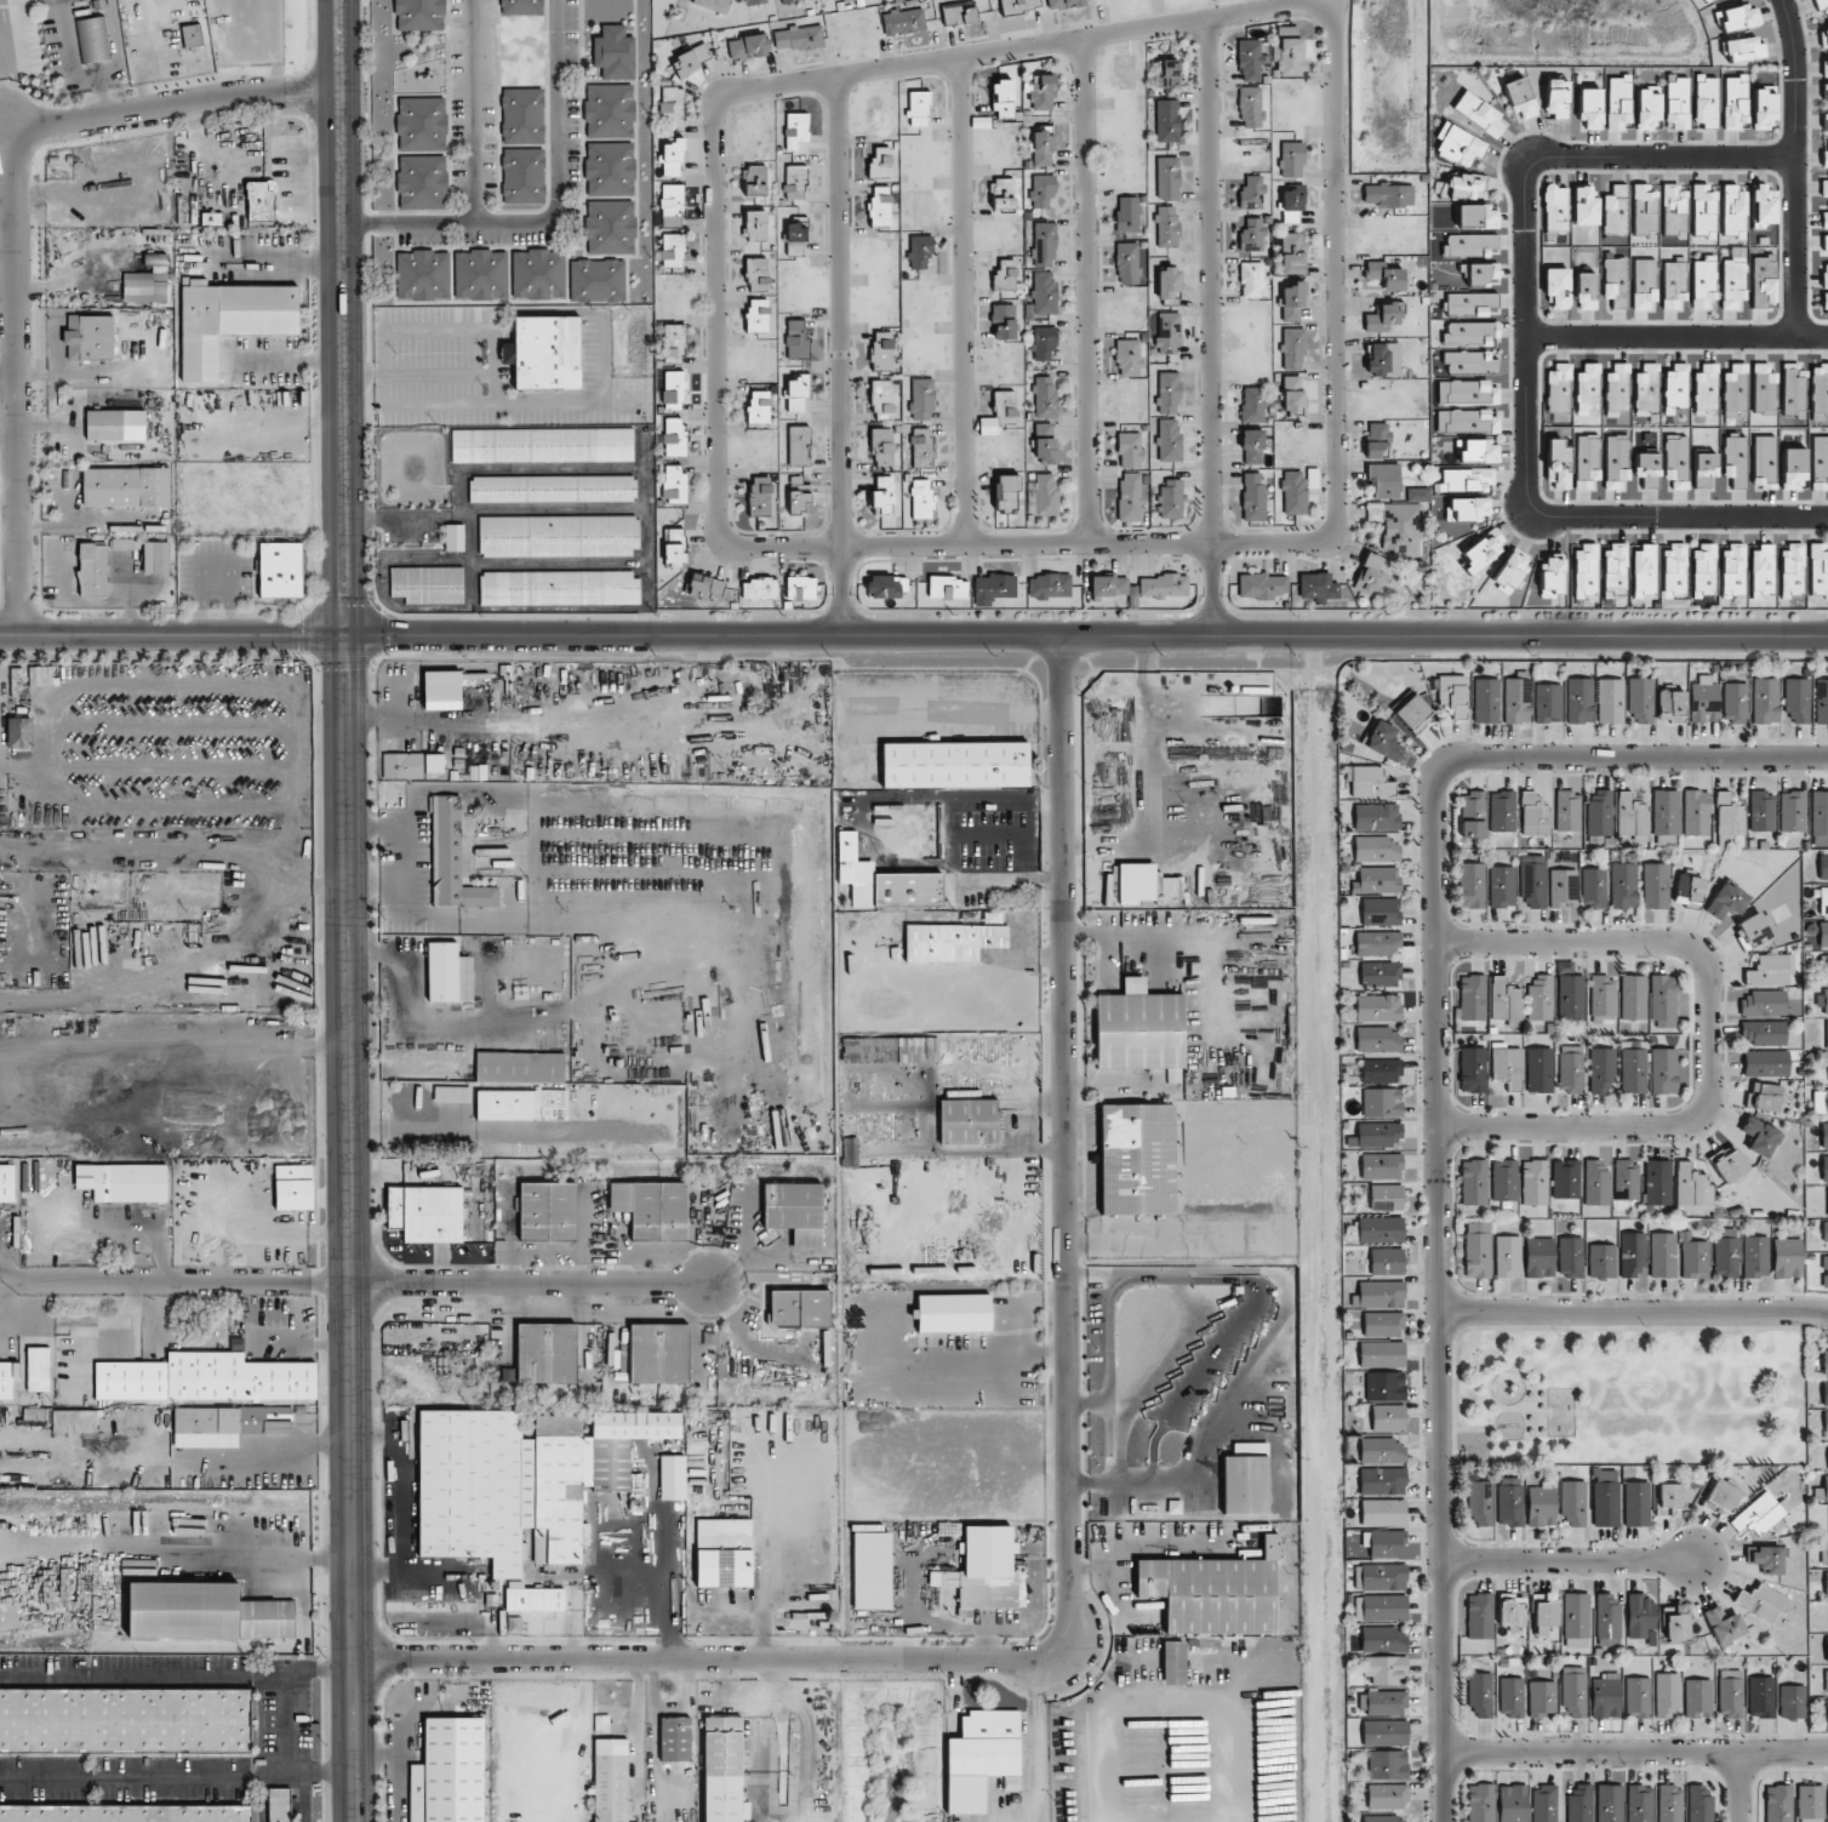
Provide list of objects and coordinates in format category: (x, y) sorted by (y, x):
building: (846, 0)
building: (1708, 0)
building: (754, 1)
building: (1066, 4)
building: (714, 5)
building: (1019, 5)
building: (1822, 5)
building: (521, 7)
building: (958, 13)
building: (419, 15)
building: (1737, 17)
building: (903, 21)
building: (192, 35)
building: (798, 38)
building: (1823, 38)
building: (92, 39)
road: (331, 46)
building: (748, 46)
building: (1743, 48)
building: (615, 52)
building: (1291, 57)
building: (690, 59)
building: (1250, 59)
building: (760, 62)
building: (1824, 68)
building: (1166, 73)
road: (804, 80)
building: (1041, 92)
building: (1824, 93)
building: (1002, 98)
building: (1519, 98)
building: (1555, 98)
building: (1617, 101)
building: (1676, 101)
building: (1704, 101)
building: (1735, 101)
building: (673, 107)
building: (1250, 107)
building: (1646, 107)
building: (918, 108)
building: (1763, 108)
building: (1589, 109)
building: (615, 110)
road: (472, 113)
building: (1478, 113)
building: (522, 115)
building: (1167, 120)
building: (1826, 121)
building: (421, 124)
building: (795, 130)
building: (1458, 144)
building: (1041, 145)
building: (672, 158)
building: (1824, 158)
building: (1291, 159)
building: (880, 162)
road: (1799, 167)
building: (615, 169)
building: (522, 175)
building: (1167, 178)
building: (755, 179)
building: (795, 181)
building: (421, 182)
building: (1461, 185)
building: (1824, 187)
building: (1041, 189)
building: (1002, 193)
building: (1251, 193)
building: (1389, 194)
building: (1293, 199)
building: (261, 202)
building: (672, 205)
building: (1763, 205)
building: (880, 206)
building: (1584, 206)
building: (1555, 207)
building: (1616, 210)
building: (1703, 210)
building: (1674, 211)
building: (1733, 211)
building: (1644, 212)
building: (1129, 215)
road: (550, 216)
building: (1476, 216)
building: (211, 218)
building: (1824, 219)
building: (756, 225)
building: (615, 227)
building: (1166, 227)
road: (15, 230)
building: (1252, 235)
building: (796, 236)
building: (1824, 242)
building: (1468, 244)
building: (1044, 245)
building: (673, 250)
building: (920, 251)
building: (1292, 252)
building: (1127, 263)
road: (269, 265)
building: (538, 273)
building: (1387, 273)
building: (1479, 273)
building: (423, 274)
building: (480, 274)
building: (756, 274)
building: (1005, 275)
building: (1824, 275)
building: (1251, 280)
building: (1763, 280)
building: (1616, 281)
building: (1167, 282)
building: (1703, 282)
building: (1674, 284)
building: (1732, 284)
building: (1645, 285)
building: (144, 286)
building: (1558, 286)
road: (1084, 290)
building: (1586, 291)
building: (1042, 293)
road: (961, 299)
building: (1292, 301)
building: (1469, 303)
building: (1826, 305)
building: (758, 315)
building: (1382, 316)
building: (230, 320)
building: (1002, 321)
road: (1209, 327)
building: (1167, 332)
building: (1468, 333)
building: (88, 337)
road: (1678, 337)
building: (796, 338)
building: (1042, 342)
building: (673, 343)
building: (1292, 348)
building: (882, 350)
building: (544, 352)
road: (1529, 352)
road: (836, 355)
building: (1129, 358)
building: (1384, 360)
building: (1470, 361)
road: (284, 362)
building: (1706, 385)
building: (1559, 387)
building: (1617, 387)
building: (1646, 387)
building: (673, 388)
building: (1588, 388)
building: (1675, 388)
building: (1736, 388)
building: (1764, 389)
building: (1794, 390)
building: (1467, 392)
building: (1820, 392)
building: (1167, 393)
building: (1292, 393)
building: (1045, 396)
building: (882, 399)
building: (921, 399)
building: (1253, 404)
building: (1005, 407)
building: (1466, 421)
building: (104, 424)
building: (674, 435)
building: (1169, 439)
building: (1377, 439)
building: (615, 444)
building: (799, 445)
building: (1252, 446)
building: (882, 447)
building: (920, 447)
building: (1045, 450)
building: (1130, 450)
building: (1479, 451)
building: (1820, 458)
building: (1587, 459)
building: (1616, 461)
building: (1676, 461)
building: (1735, 461)
building: (1765, 461)
building: (1558, 464)
building: (1647, 468)
building: (1704, 468)
building: (1793, 468)
road: (516, 469)
building: (1464, 479)
building: (1384, 480)
building: (674, 482)
building: (126, 486)
building: (616, 487)
building: (1293, 492)
building: (1005, 493)
building: (1046, 493)
building: (1417, 493)
building: (760, 495)
building: (882, 495)
building: (799, 496)
building: (1130, 496)
building: (1253, 496)
building: (920, 499)
building: (1467, 508)
building: (1403, 529)
building: (617, 535)
building: (453, 538)
road: (1286, 541)
building: (675, 547)
building: (1483, 549)
building: (156, 556)
building: (92, 569)
building: (280, 569)
building: (1818, 569)
building: (1510, 570)
building: (1615, 570)
building: (1644, 570)
building: (1703, 570)
building: (1761, 570)
building: (1790, 570)
building: (1586, 571)
building: (1732, 571)
building: (1673, 572)
building: (1370, 573)
building: (1552, 575)
building: (427, 584)
building: (1049, 586)
building: (1108, 586)
building: (1163, 586)
building: (1262, 586)
building: (1318, 586)
building: (617, 587)
building: (947, 587)
building: (994, 587)
building: (701, 588)
building: (759, 588)
building: (800, 588)
road: (647, 601)
road: (11, 635)
road: (924, 636)
building: (442, 689)
building: (1453, 693)
building: (1641, 699)
building: (1704, 699)
building: (1486, 701)
building: (1516, 701)
building: (1579, 701)
building: (1610, 701)
building: (1765, 701)
building: (1796, 701)
building: (1821, 701)
building: (1548, 703)
building: (1735, 703)
building: (1672, 706)
building: (1413, 713)
building: (1383, 741)
road: (1628, 758)
building: (433, 763)
building: (395, 765)
building: (955, 765)
building: (1369, 782)
building: (1761, 810)
building: (1502, 811)
building: (1569, 811)
building: (1792, 811)
building: (1600, 812)
building: (1664, 812)
building: (1696, 812)
building: (1820, 812)
building: (1472, 813)
building: (1533, 815)
building: (1376, 816)
building: (1632, 817)
building: (1729, 818)
building: (846, 845)
building: (1377, 849)
building: (452, 859)
building: (1823, 867)
building: (1377, 879)
road: (371, 880)
building: (1532, 881)
building: (1472, 885)
building: (1623, 885)
building: (1656, 885)
building: (1167, 886)
building: (1502, 886)
building: (1593, 887)
building: (907, 889)
building: (1564, 889)
building: (1689, 890)
road: (402, 893)
building: (1726, 901)
building: (1823, 901)
building: (1381, 912)
building: (1756, 929)
building: (1823, 935)
building: (952, 941)
building: (1377, 943)
road: (407, 955)
road: (342, 956)
building: (1827, 966)
building: (1771, 970)
building: (449, 972)
building: (1379, 973)
building: (1603, 995)
building: (1473, 996)
building: (1571, 996)
building: (1633, 996)
building: (1541, 998)
building: (1663, 998)
building: (1506, 1001)
building: (1824, 1001)
building: (1763, 1003)
building: (1377, 1007)
building: (1138, 1028)
building: (1764, 1032)
building: (1827, 1034)
road: (1701, 1035)
building: (1378, 1040)
building: (918, 1049)
building: (1765, 1063)
building: (1507, 1064)
building: (520, 1067)
building: (1473, 1069)
building: (1539, 1069)
building: (1571, 1069)
building: (1381, 1070)
building: (1603, 1070)
building: (1634, 1070)
building: (1664, 1070)
building: (1172, 1075)
building: (451, 1093)
building: (1764, 1096)
building: (1382, 1102)
building: (1820, 1102)
building: (520, 1104)
building: (969, 1121)
building: (1379, 1133)
building: (1824, 1135)
building: (1761, 1137)
building: (1136, 1159)
building: (1382, 1166)
building: (1730, 1166)
building: (1824, 1169)
building: (1566, 1178)
building: (1504, 1180)
building: (1627, 1180)
building: (124, 1182)
building: (1474, 1182)
building: (1535, 1182)
building: (1657, 1182)
building: (6, 1183)
building: (1596, 1183)
building: (293, 1187)
building: (1692, 1188)
building: (1387, 1196)
building: (1827, 1203)
building: (652, 1209)
building: (545, 1211)
building: (502, 1212)
building: (795, 1212)
building: (425, 1213)
building: (1378, 1229)
building: (1824, 1230)
building: (1632, 1255)
building: (1663, 1255)
building: (1726, 1255)
building: (1508, 1256)
building: (1695, 1256)
building: (1755, 1256)
building: (1539, 1257)
building: (1571, 1257)
building: (1787, 1257)
building: (1387, 1261)
building: (1603, 1261)
building: (1826, 1272)
road: (182, 1283)
road: (527, 1284)
building: (1378, 1295)
road: (1434, 1300)
building: (799, 1308)
road: (1630, 1309)
building: (953, 1313)
building: (1383, 1324)
building: (545, 1353)
building: (658, 1353)
building: (1382, 1354)
building: (1824, 1363)
building: (38, 1369)
building: (7, 1378)
building: (205, 1378)
building: (1384, 1386)
building: (1826, 1393)
park: (1628, 1394)
building: (1388, 1417)
building: (195, 1420)
building: (263, 1420)
building: (1826, 1420)
building: (627, 1443)
building: (1382, 1450)
building: (672, 1477)
building: (1245, 1479)
building: (1382, 1481)
building: (636, 1483)
building: (558, 1484)
road: (400, 1485)
building: (1822, 1491)
building: (476, 1496)
building: (1605, 1497)
building: (1668, 1497)
building: (1721, 1497)
road: (1069, 1501)
building: (1509, 1501)
building: (1480, 1502)
building: (1572, 1503)
building: (1636, 1503)
building: (1541, 1504)
building: (1383, 1513)
building: (1761, 1514)
road: (1146, 1533)
building: (1384, 1542)
building: (725, 1554)
road: (1571, 1558)
building: (1766, 1558)
road: (211, 1569)
road: (296, 1570)
building: (872, 1570)
building: (984, 1571)
road: (409, 1572)
building: (1379, 1577)
building: (1826, 1583)
road: (667, 1586)
building: (1213, 1592)
building: (1761, 1601)
building: (1381, 1607)
building: (204, 1611)
building: (1510, 1611)
building: (1544, 1612)
building: (1479, 1616)
building: (1639, 1616)
building: (1576, 1620)
building: (1607, 1621)
building: (1724, 1626)
building: (1676, 1627)
building: (1383, 1639)
building: (1827, 1649)
building: (1172, 1662)
building: (1384, 1669)
road: (176, 1678)
building: (1826, 1680)
building: (1573, 1691)
building: (1730, 1692)
building: (1480, 1694)
building: (1667, 1694)
building: (1606, 1696)
building: (1761, 1696)
building: (1512, 1697)
building: (1638, 1697)
building: (1542, 1698)
building: (1698, 1698)
building: (1793, 1701)
building: (1386, 1702)
road: (1224, 1704)
building: (1826, 1712)
building: (125, 1720)
road: (1106, 1725)
road: (811, 1732)
building: (1384, 1732)
building: (675, 1738)
road: (1036, 1742)
road: (291, 1746)
road: (1633, 1750)
building: (978, 1757)
building: (1388, 1764)
building: (722, 1770)
building: (449, 1772)
building: (611, 1780)
road: (176, 1781)
road: (1737, 1786)
building: (1387, 1795)
building: (1810, 1800)
building: (1480, 1803)
building: (1513, 1803)
building: (1610, 1803)
building: (1640, 1803)
building: (1670, 1803)
building: (1778, 1803)
building: (1544, 1804)
building: (1579, 1804)
building: (1700, 1804)
building: (279, 1805)
building: (124, 1814)
building: (1386, 1818)

